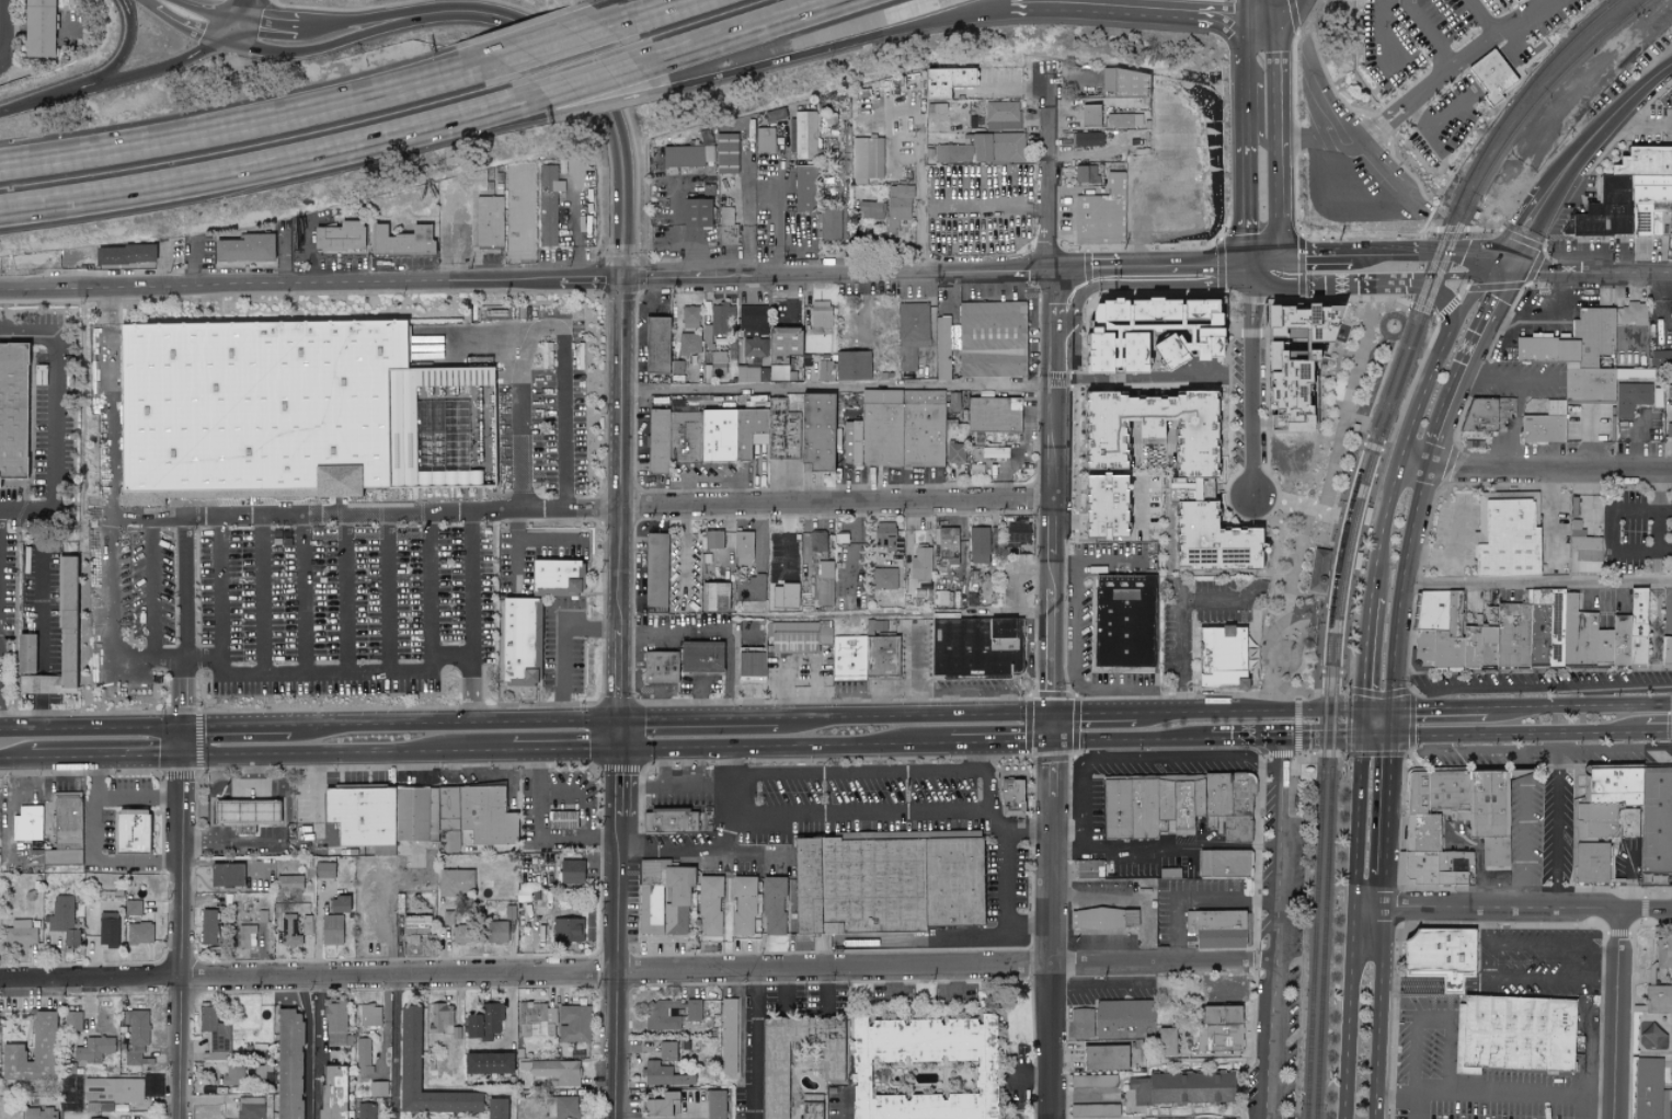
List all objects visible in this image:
building: (1509, 2)
road: (146, 4)
road: (1262, 9)
road: (1274, 9)
road: (1063, 11)
road: (1217, 11)
road: (208, 12)
road: (245, 12)
road: (622, 13)
road: (637, 13)
road: (1150, 15)
road: (1482, 16)
road: (1526, 16)
road: (1216, 22)
road: (367, 24)
road: (2, 28)
building: (50, 28)
road: (270, 28)
road: (1255, 28)
road: (191, 30)
road: (1382, 33)
road: (1428, 33)
road: (236, 34)
road: (747, 34)
road: (545, 43)
road: (334, 47)
road: (832, 49)
road: (1247, 60)
parking lot: (1627, 76)
building: (1491, 77)
road: (141, 78)
building: (946, 81)
road: (593, 82)
road: (96, 83)
building: (1125, 83)
road: (603, 91)
road: (1004, 92)
road: (1422, 94)
road: (1247, 96)
road: (607, 104)
building: (935, 107)
building: (1001, 115)
building: (1089, 115)
road: (1616, 115)
road: (1663, 118)
road: (1266, 119)
building: (1122, 120)
road: (251, 124)
road: (1631, 125)
road: (1663, 125)
railway: (1500, 126)
road: (1425, 127)
road: (1282, 128)
building: (804, 135)
road: (1313, 136)
building: (1087, 139)
building: (765, 140)
road: (1344, 147)
building: (984, 149)
building: (725, 153)
building: (687, 155)
building: (867, 159)
road: (274, 162)
road: (278, 170)
road: (1044, 171)
building: (1085, 174)
building: (803, 189)
road: (1249, 189)
road: (1549, 191)
road: (923, 194)
building: (1628, 196)
building: (549, 205)
building: (897, 206)
building: (871, 210)
building: (696, 214)
building: (1101, 215)
road: (777, 216)
road: (1542, 218)
building: (489, 222)
building: (831, 223)
road: (1511, 235)
building: (339, 238)
building: (401, 241)
building: (243, 249)
road: (310, 252)
road: (1446, 252)
road: (575, 254)
road: (694, 254)
road: (1377, 254)
building: (123, 255)
road: (1269, 256)
road: (1319, 257)
road: (1504, 262)
road: (193, 264)
road: (1545, 268)
road: (1147, 270)
road: (1624, 273)
road: (1509, 274)
road: (1464, 277)
road: (1266, 282)
road: (522, 284)
road: (1356, 284)
road: (654, 298)
road: (1466, 311)
building: (1634, 313)
building: (689, 316)
building: (820, 316)
building: (1301, 316)
building: (721, 318)
building: (752, 318)
road: (1450, 319)
building: (914, 323)
road: (1551, 326)
building: (1187, 335)
building: (993, 342)
road: (519, 343)
building: (689, 343)
building: (655, 344)
building: (753, 347)
building: (943, 350)
building: (1578, 354)
railway: (1410, 356)
building: (1661, 357)
building: (1605, 360)
building: (719, 361)
road: (1467, 365)
building: (854, 368)
building: (824, 370)
building: (451, 374)
road: (1510, 377)
road: (1129, 378)
building: (1286, 384)
road: (834, 390)
building: (1669, 391)
road: (1251, 396)
building: (1656, 396)
building: (1630, 397)
building: (264, 411)
building: (15, 412)
building: (1488, 413)
building: (995, 417)
road: (54, 420)
road: (1515, 424)
building: (1545, 424)
building: (905, 432)
building: (787, 434)
building: (822, 435)
building: (735, 436)
road: (1590, 438)
road: (1636, 440)
building: (676, 441)
building: (430, 452)
building: (954, 452)
building: (995, 452)
railway: (1385, 459)
road: (1534, 470)
road: (1005, 476)
road: (713, 477)
road: (1396, 477)
building: (1187, 487)
road: (1044, 495)
road: (833, 506)
road: (1296, 507)
road: (1317, 507)
road: (256, 517)
railway: (1344, 526)
road: (1657, 527)
building: (1113, 529)
road: (1614, 532)
building: (1507, 534)
building: (886, 537)
building: (712, 539)
road: (553, 540)
road: (788, 543)
building: (817, 544)
building: (947, 544)
building: (978, 544)
building: (743, 547)
building: (1583, 550)
road: (1454, 552)
road: (1112, 562)
road: (1060, 563)
building: (920, 565)
building: (655, 569)
building: (1317, 569)
road: (685, 572)
building: (554, 577)
building: (883, 578)
road: (1018, 579)
building: (824, 582)
road: (1538, 582)
building: (749, 588)
road: (41, 590)
road: (152, 590)
road: (1404, 590)
road: (387, 593)
road: (304, 595)
road: (346, 595)
building: (783, 595)
road: (263, 596)
building: (714, 596)
parking lot: (295, 612)
road: (988, 614)
road: (471, 618)
road: (1183, 621)
road: (187, 623)
building: (1125, 623)
road: (1076, 625)
building: (875, 626)
building: (1528, 632)
road: (673, 636)
building: (58, 637)
road: (746, 638)
road: (562, 643)
building: (976, 648)
building: (1667, 649)
road: (451, 655)
road: (1365, 655)
building: (700, 656)
building: (864, 657)
road: (204, 658)
building: (1223, 658)
railway: (1314, 659)
road: (801, 660)
building: (749, 662)
building: (659, 666)
building: (31, 669)
road: (917, 670)
road: (327, 673)
road: (732, 676)
road: (1111, 689)
road: (1542, 689)
road: (973, 691)
road: (698, 697)
road: (1595, 697)
road: (620, 700)
road: (657, 702)
road: (1148, 702)
road: (1579, 707)
road: (1438, 710)
traffic signals: (1364, 712)
traffic signals: (1390, 712)
road: (1262, 714)
road: (1089, 715)
road: (1027, 716)
road: (893, 718)
road: (697, 720)
traffic signals: (620, 722)
road: (455, 724)
road: (237, 727)
road: (92, 728)
traffic signals: (184, 728)
road: (1043, 729)
road: (1659, 732)
road: (1503, 735)
traffic signals: (1390, 738)
traffic signals: (1362, 739)
road: (1321, 740)
road: (1246, 741)
road: (1150, 742)
road: (996, 743)
road: (1067, 743)
road: (785, 747)
road: (1546, 749)
road: (1092, 750)
road: (566, 751)
traffic signals: (620, 751)
road: (348, 755)
road: (1188, 755)
road: (974, 758)
traffic signals: (184, 759)
road: (107, 760)
road: (15, 762)
road: (1043, 762)
road: (662, 769)
road: (1067, 769)
road: (874, 772)
road: (673, 786)
building: (1012, 796)
road: (140, 798)
road: (1387, 804)
road: (537, 805)
building: (1176, 805)
road: (1043, 808)
building: (1629, 810)
building: (415, 814)
road: (860, 816)
building: (561, 819)
building: (671, 820)
building: (26, 822)
road: (1555, 822)
road: (999, 823)
building: (1486, 828)
road: (1524, 830)
building: (64, 831)
building: (129, 831)
road: (1024, 835)
road: (1061, 847)
road: (1145, 847)
road: (723, 851)
road: (758, 852)
road: (1276, 852)
road: (96, 855)
building: (1223, 863)
building: (324, 869)
building: (1088, 869)
building: (570, 872)
building: (225, 874)
road: (1627, 880)
building: (456, 881)
building: (289, 882)
building: (890, 885)
building: (663, 897)
road: (1042, 901)
road: (1007, 902)
building: (337, 903)
road: (1196, 903)
building: (743, 904)
building: (709, 905)
building: (772, 905)
building: (133, 908)
road: (1513, 911)
road: (1353, 914)
building: (1104, 918)
building: (62, 919)
road: (182, 923)
building: (307, 924)
building: (208, 925)
building: (415, 927)
building: (1215, 927)
building: (107, 928)
building: (331, 930)
building: (568, 930)
road: (1485, 930)
building: (289, 931)
building: (496, 932)
building: (20, 933)
building: (139, 933)
building: (459, 934)
building: (245, 935)
road: (1550, 947)
railway: (1315, 950)
railway: (1324, 950)
building: (1662, 953)
building: (1440, 955)
road: (1156, 964)
road: (520, 976)
road: (1535, 980)
road: (1474, 982)
road: (1411, 983)
road: (957, 985)
road: (893, 988)
road: (1097, 989)
road: (786, 992)
road: (829, 993)
road: (1378, 994)
building: (1658, 999)
building: (656, 1012)
building: (369, 1015)
road: (1616, 1015)
building: (440, 1018)
building: (1123, 1018)
building: (536, 1019)
building: (72, 1020)
building: (483, 1022)
building: (335, 1023)
building: (573, 1023)
building: (1219, 1028)
building: (213, 1029)
building: (1512, 1034)
building: (728, 1036)
building: (138, 1038)
building: (1165, 1041)
road: (1269, 1041)
road: (1042, 1042)
building: (1670, 1043)
road: (753, 1046)
road: (309, 1048)
road: (397, 1048)
building: (93, 1049)
road: (319, 1049)
building: (408, 1049)
building: (665, 1050)
building: (32, 1052)
building: (363, 1055)
building: (1104, 1057)
building: (486, 1063)
building: (288, 1064)
building: (923, 1068)
road: (1448, 1070)
building: (557, 1072)
building: (774, 1073)
building: (663, 1074)
building: (233, 1075)
road: (1023, 1078)
building: (1093, 1081)
building: (152, 1085)
building: (1181, 1087)
building: (114, 1089)
building: (1649, 1089)
building: (332, 1092)
road: (1431, 1093)
road: (1394, 1101)
building: (660, 1104)
building: (714, 1104)
building: (834, 1105)
building: (810, 1106)
building: (70, 1107)
building: (562, 1107)
building: (496, 1108)
road: (1580, 1108)
building: (1093, 1109)
building: (365, 1110)
building: (38, 1112)
building: (95, 1118)
road: (846, 1118)

